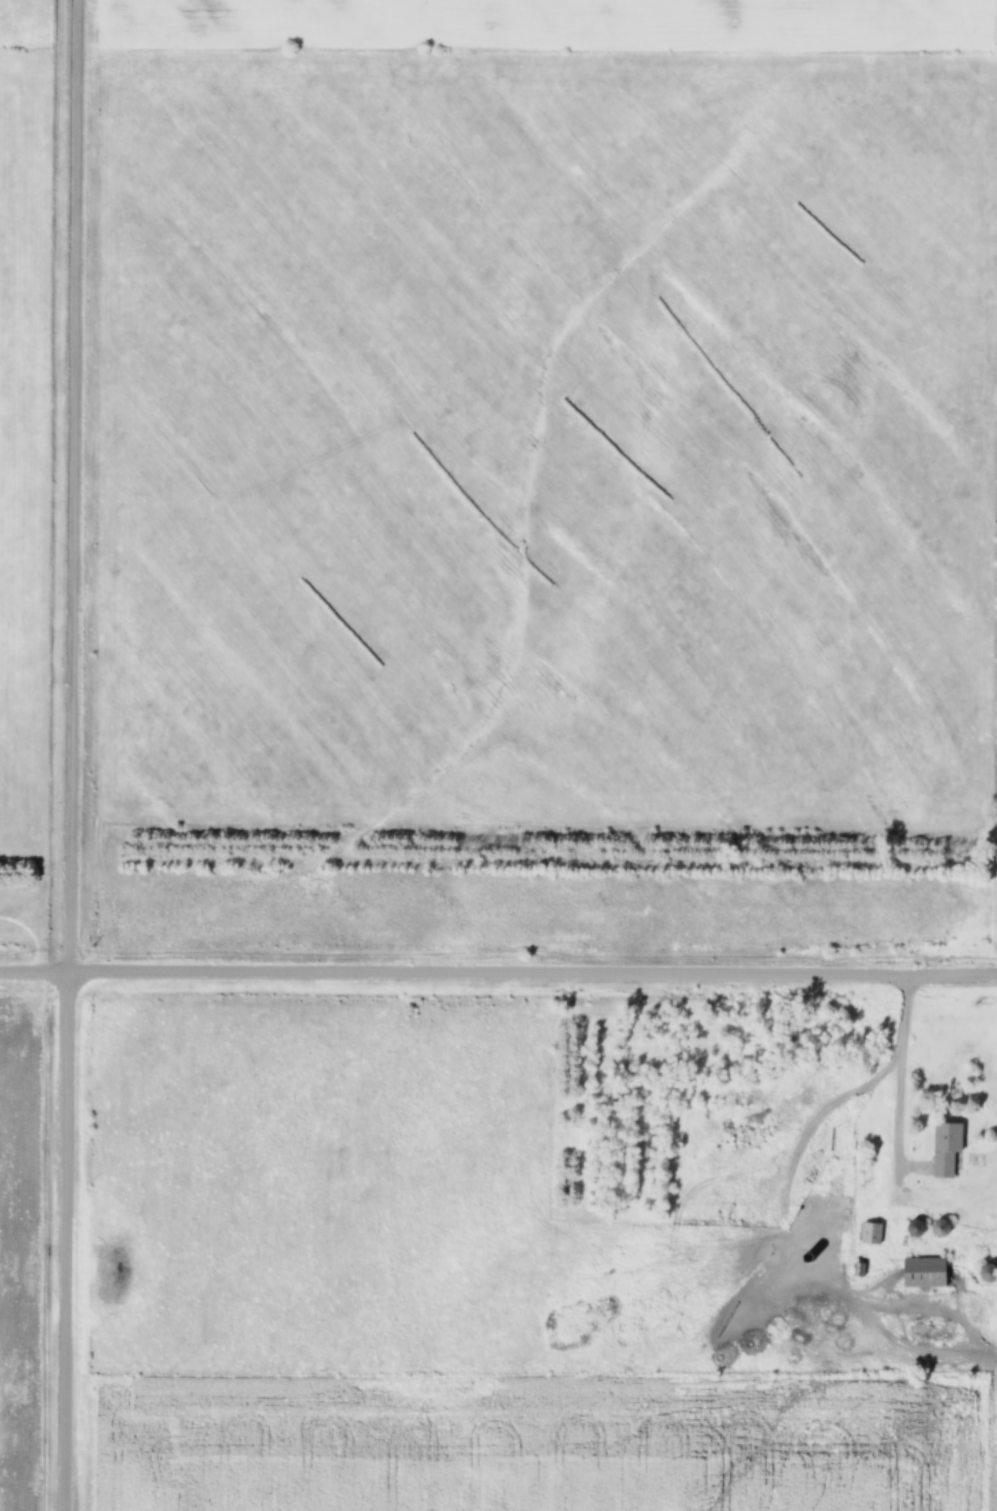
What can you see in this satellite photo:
road: (70, 755)
road: (498, 972)
road: (901, 1032)
building: (949, 1149)
building: (871, 1234)
building: (809, 1259)
building: (927, 1273)
building: (990, 1274)

